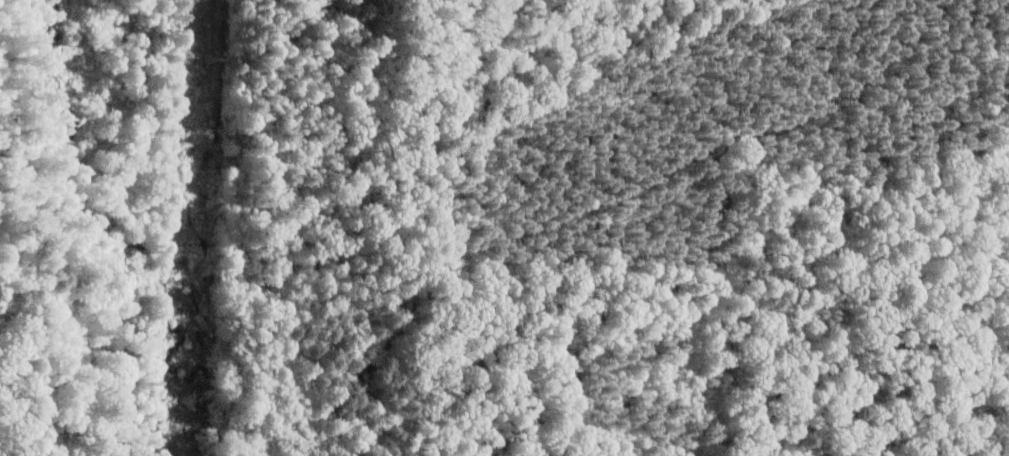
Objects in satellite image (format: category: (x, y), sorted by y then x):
power tower: (199, 62)

